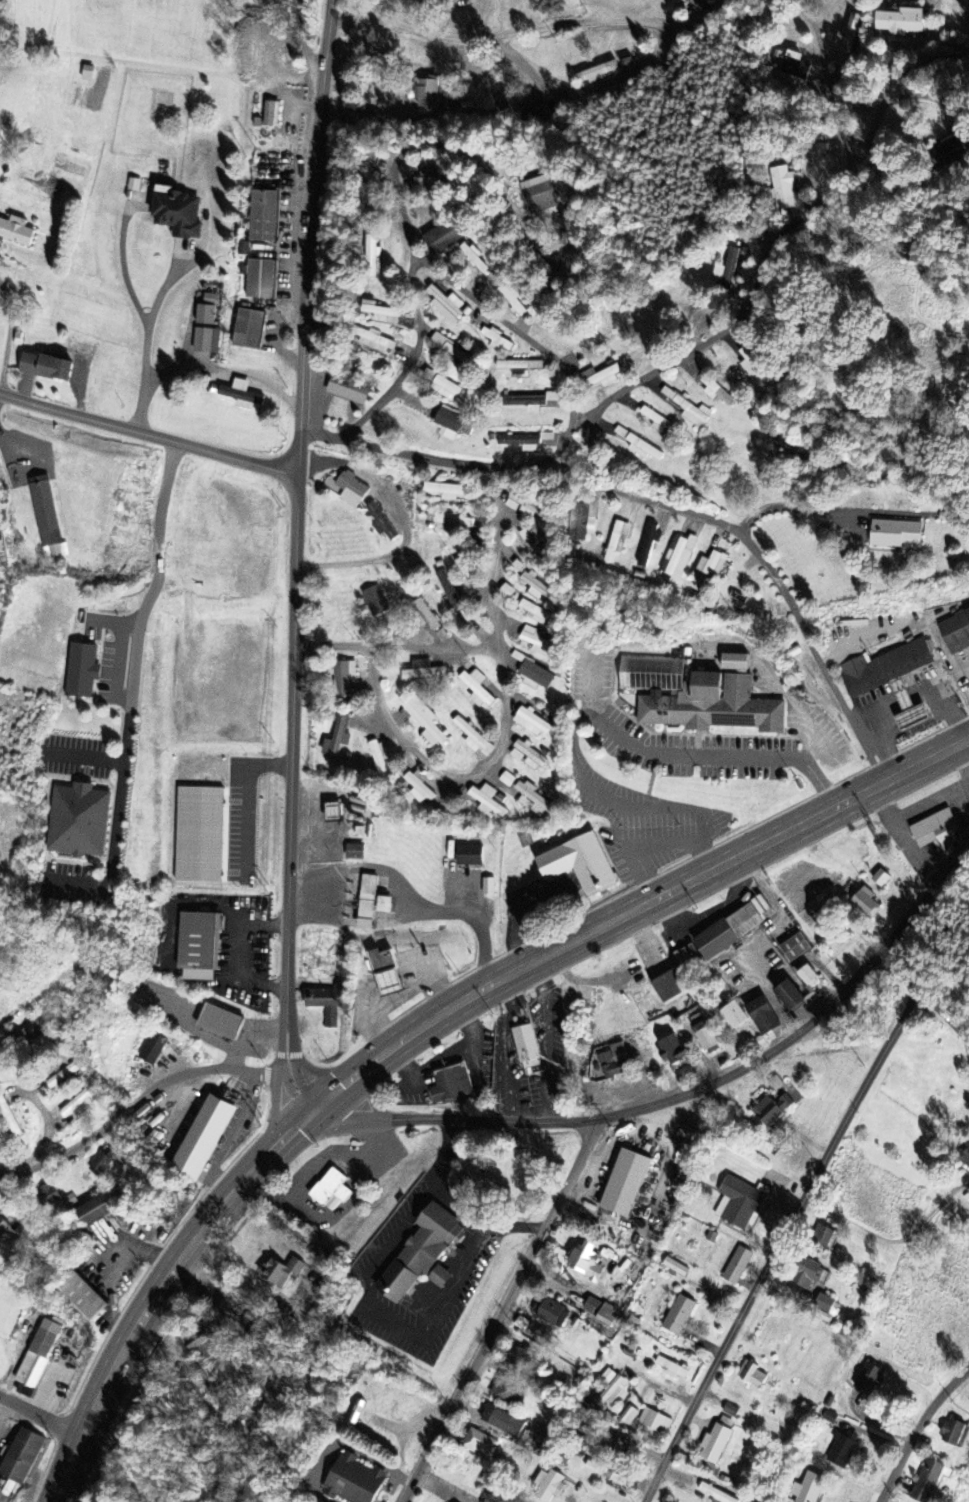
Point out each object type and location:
building: (451, 1)
building: (707, 4)
building: (900, 22)
road: (303, 40)
building: (846, 42)
road: (665, 47)
building: (794, 71)
building: (597, 73)
building: (86, 74)
building: (426, 93)
building: (271, 114)
road: (443, 145)
building: (946, 153)
building: (429, 178)
building: (133, 185)
building: (783, 188)
building: (368, 189)
building: (539, 195)
building: (177, 213)
building: (264, 216)
building: (16, 231)
road: (310, 235)
building: (444, 236)
building: (912, 254)
building: (371, 256)
building: (474, 256)
building: (729, 268)
building: (260, 280)
building: (513, 296)
building: (446, 305)
building: (381, 313)
building: (205, 315)
building: (249, 330)
road: (7, 339)
building: (497, 339)
building: (206, 341)
building: (373, 341)
building: (451, 349)
road: (413, 358)
building: (520, 365)
building: (751, 365)
building: (45, 367)
building: (601, 377)
building: (445, 387)
building: (347, 390)
building: (716, 392)
building: (241, 395)
road: (609, 399)
building: (533, 400)
building: (686, 406)
road: (581, 413)
building: (657, 421)
building: (450, 423)
road: (149, 433)
building: (521, 443)
road: (560, 446)
building: (639, 446)
building: (352, 490)
building: (447, 492)
building: (522, 505)
building: (44, 511)
building: (381, 522)
building: (451, 523)
building: (582, 523)
building: (896, 534)
building: (525, 537)
building: (617, 541)
building: (539, 544)
building: (649, 544)
building: (678, 557)
building: (463, 564)
building: (519, 567)
building: (708, 571)
road: (490, 577)
building: (537, 588)
building: (449, 591)
building: (507, 592)
building: (374, 602)
building: (537, 614)
building: (426, 616)
building: (955, 630)
building: (539, 643)
road: (395, 645)
building: (734, 663)
building: (79, 671)
building: (423, 672)
building: (535, 677)
building: (344, 678)
building: (477, 689)
building: (697, 698)
building: (424, 721)
building: (531, 723)
building: (473, 738)
building: (336, 741)
building: (378, 756)
building: (527, 757)
road: (450, 774)
building: (507, 780)
building: (420, 786)
road: (290, 792)
building: (536, 800)
building: (487, 802)
building: (525, 803)
building: (333, 813)
building: (78, 821)
building: (936, 833)
building: (354, 852)
building: (470, 856)
building: (580, 865)
building: (881, 879)
building: (488, 887)
building: (367, 903)
building: (867, 903)
building: (383, 905)
building: (734, 928)
building: (199, 947)
building: (795, 948)
road: (902, 971)
building: (386, 973)
building: (808, 976)
building: (669, 987)
building: (790, 996)
road: (26, 999)
building: (327, 1004)
building: (733, 1014)
road: (944, 1015)
building: (763, 1016)
building: (220, 1023)
road: (423, 1023)
building: (29, 1036)
building: (705, 1037)
building: (526, 1048)
building: (152, 1050)
building: (672, 1051)
building: (614, 1062)
building: (63, 1077)
road: (717, 1078)
building: (775, 1084)
building: (450, 1087)
road: (137, 1100)
building: (75, 1106)
building: (773, 1110)
building: (203, 1139)
building: (964, 1156)
building: (100, 1165)
building: (625, 1184)
building: (331, 1189)
building: (48, 1196)
building: (70, 1202)
building: (739, 1203)
building: (93, 1212)
building: (5, 1233)
building: (824, 1238)
road: (777, 1245)
building: (422, 1256)
building: (586, 1263)
building: (737, 1267)
building: (676, 1268)
building: (281, 1272)
building: (808, 1274)
building: (82, 1296)
building: (825, 1304)
building: (592, 1307)
road: (500, 1313)
building: (553, 1314)
building: (679, 1316)
building: (606, 1317)
building: (38, 1355)
building: (523, 1359)
building: (673, 1369)
building: (752, 1375)
building: (869, 1380)
building: (611, 1389)
building: (505, 1390)
building: (731, 1412)
road: (41, 1413)
building: (629, 1416)
building: (655, 1422)
building: (503, 1423)
road: (917, 1429)
building: (954, 1434)
building: (715, 1445)
building: (480, 1446)
building: (619, 1446)
building: (842, 1451)
building: (21, 1457)
building: (605, 1474)
building: (353, 1481)
building: (929, 1482)
building: (548, 1486)
building: (808, 1489)
building: (715, 1494)

